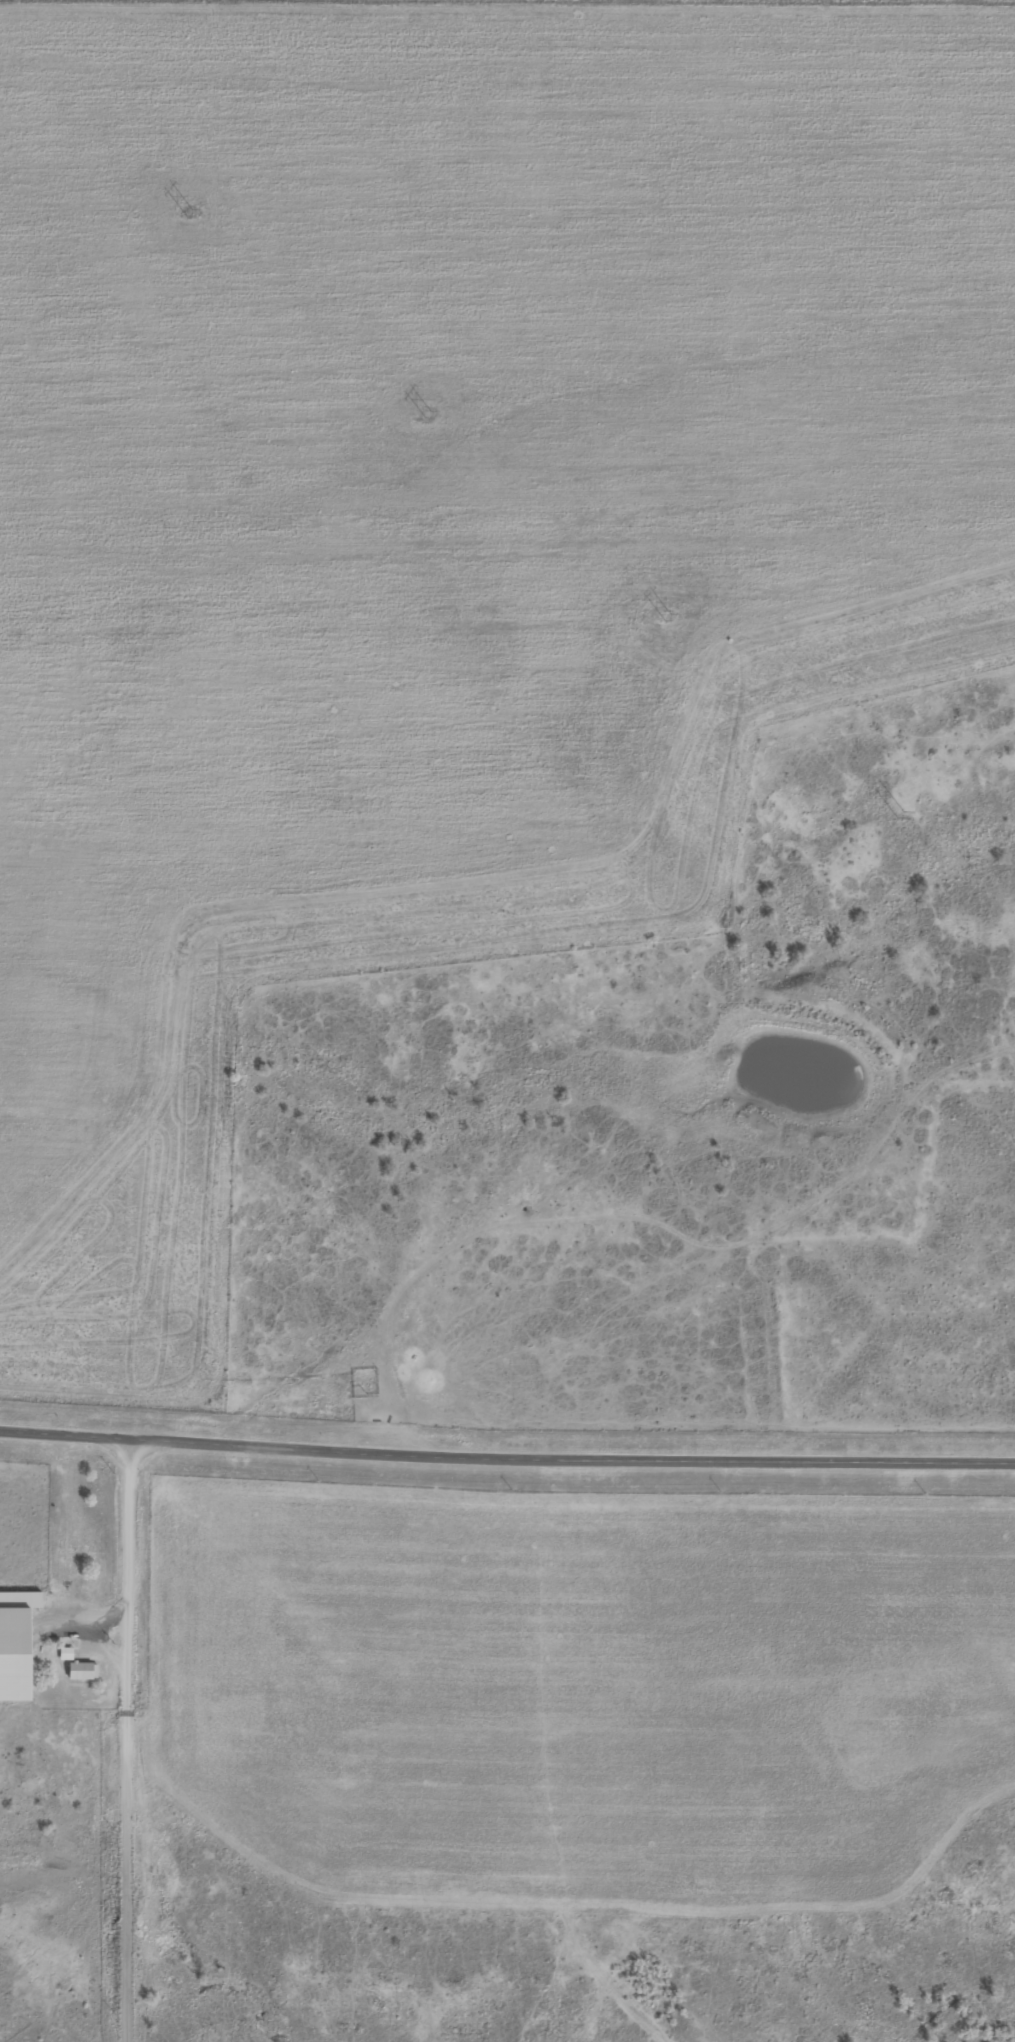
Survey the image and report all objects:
power tower: (189, 213)
power tower: (429, 414)
power tower: (669, 617)
power tower: (901, 815)
road: (507, 1453)
building: (21, 1602)
building: (67, 1655)
building: (83, 1672)
road: (119, 1740)

